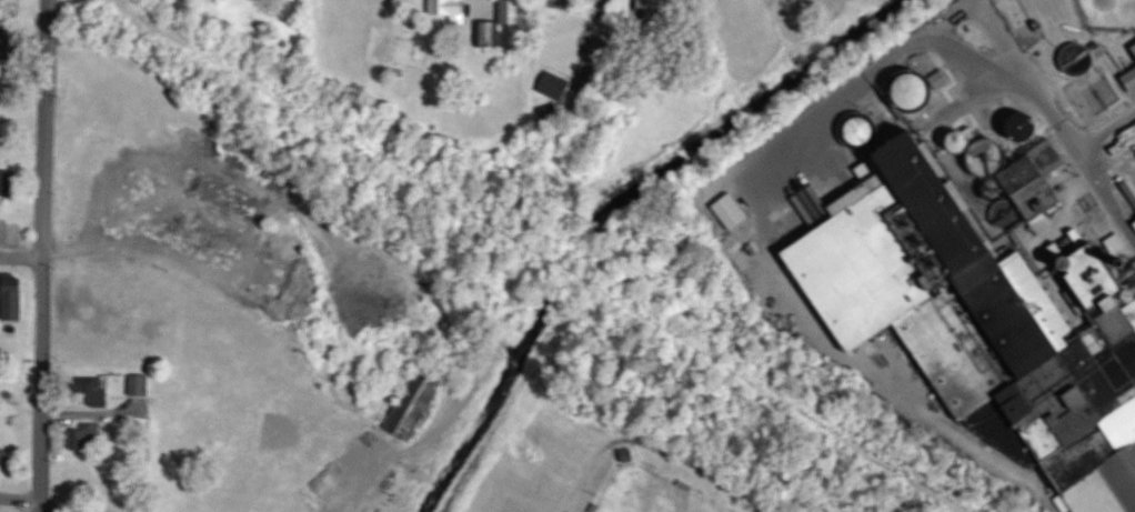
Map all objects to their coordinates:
building: (561, 1)
building: (652, 3)
road: (478, 6)
building: (450, 11)
road: (604, 11)
building: (503, 21)
road: (48, 24)
building: (1132, 80)
building: (921, 91)
road: (43, 99)
road: (1055, 117)
building: (1027, 128)
building: (862, 131)
building: (964, 144)
building: (1041, 181)
building: (732, 211)
building: (12, 232)
road: (21, 258)
building: (17, 287)
building: (987, 320)
road: (41, 330)
building: (140, 385)
building: (93, 392)
building: (415, 403)
building: (88, 438)
building: (3, 456)
road: (583, 470)
building: (84, 482)
road: (350, 493)
road: (49, 499)

